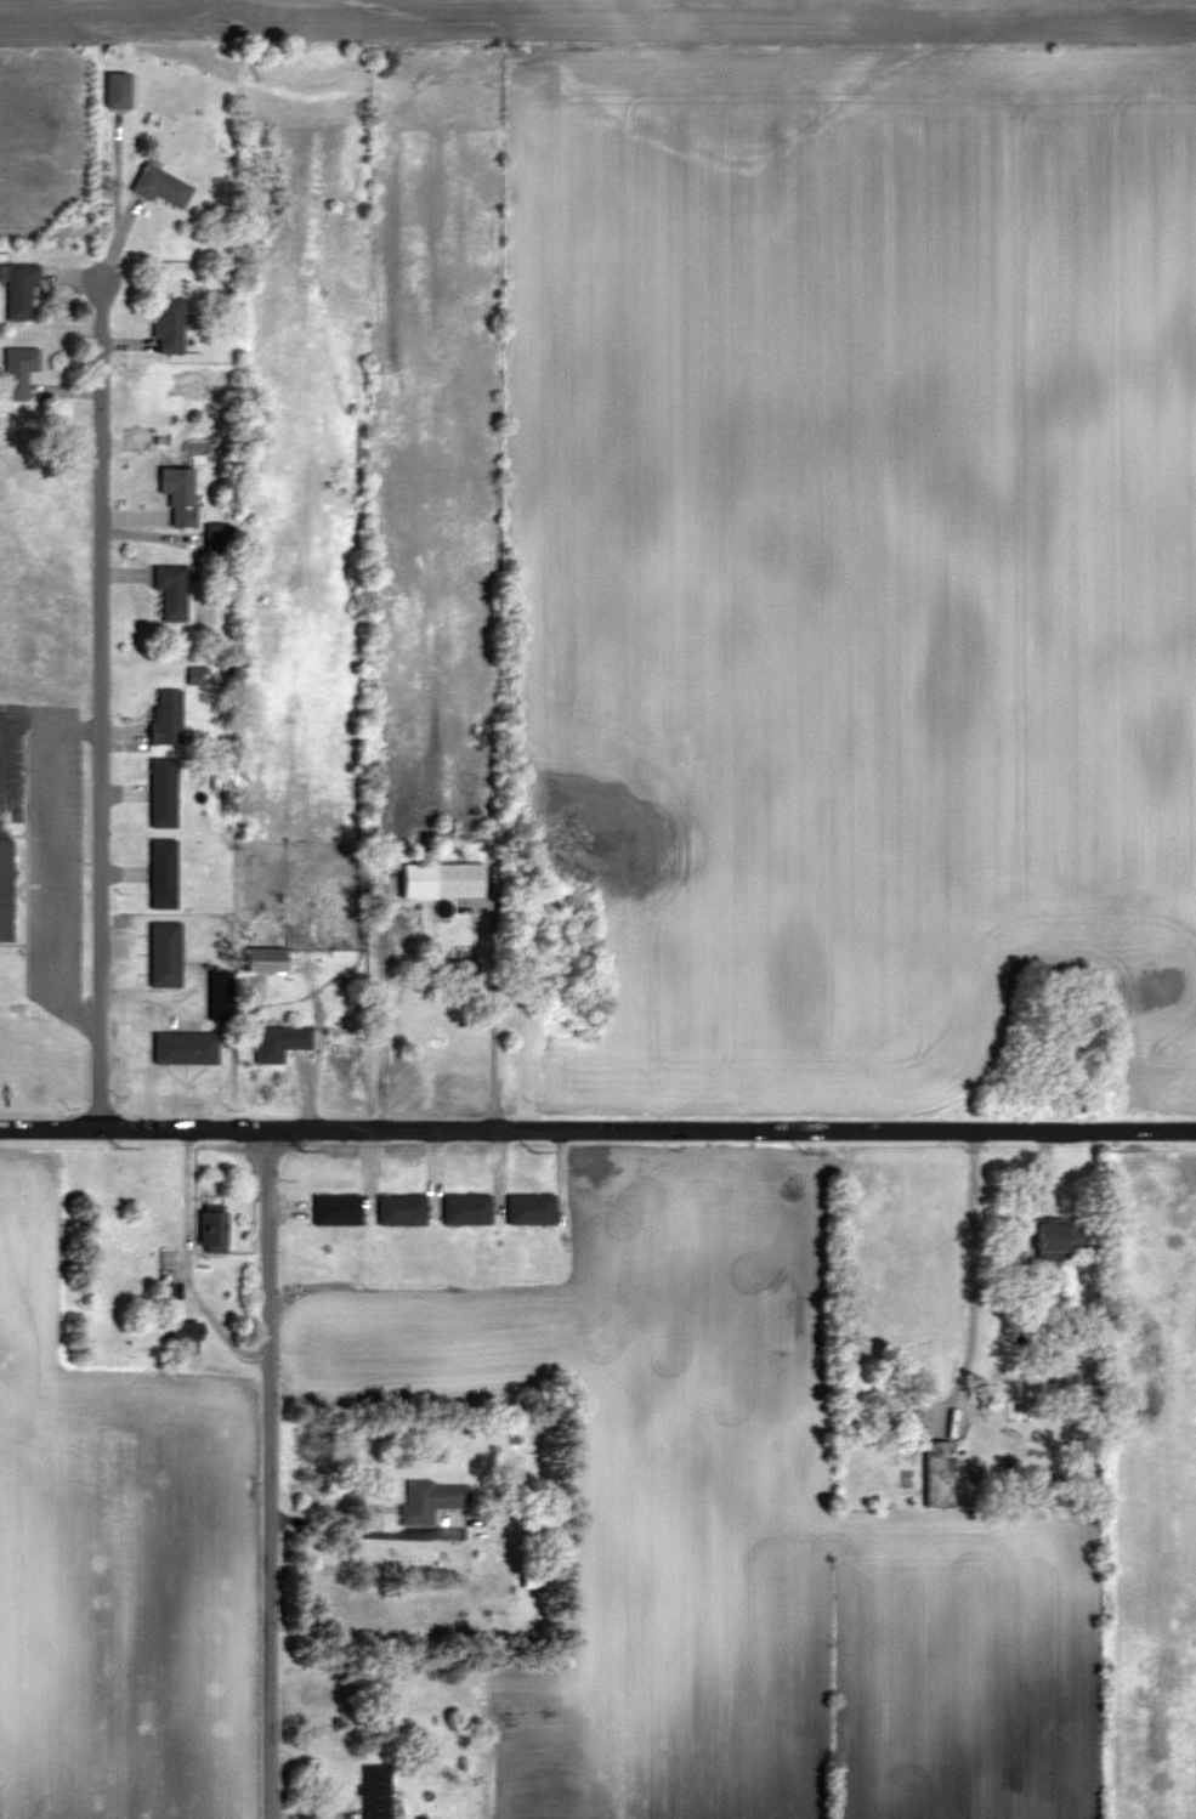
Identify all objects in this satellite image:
building: (118, 91)
building: (164, 187)
building: (19, 290)
building: (170, 325)
building: (18, 372)
building: (180, 494)
building: (219, 538)
building: (171, 591)
road: (102, 703)
building: (166, 715)
building: (163, 792)
building: (163, 874)
building: (443, 879)
building: (6, 888)
building: (165, 954)
building: (266, 958)
building: (463, 976)
building: (219, 994)
road: (492, 1021)
building: (280, 1041)
building: (186, 1047)
road: (597, 1128)
building: (338, 1209)
building: (402, 1209)
building: (467, 1209)
building: (531, 1209)
building: (214, 1231)
building: (1060, 1236)
road: (187, 1264)
road: (971, 1281)
building: (187, 1331)
road: (270, 1473)
building: (939, 1473)
building: (431, 1498)
road: (361, 1530)
building: (376, 1791)

